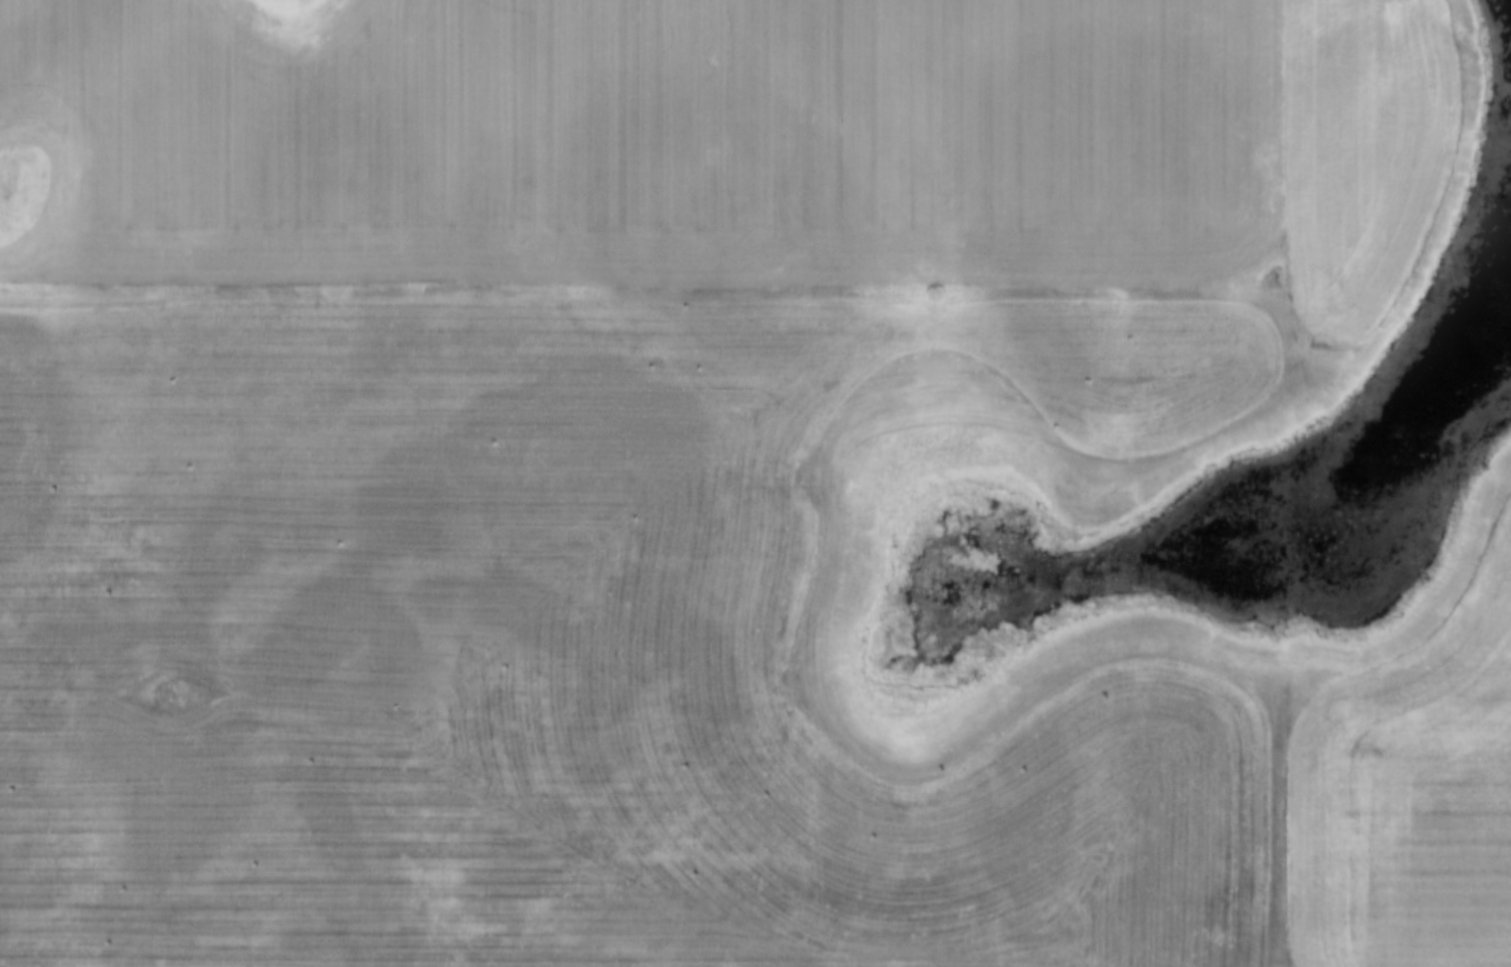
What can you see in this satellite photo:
road: (1275, 834)

